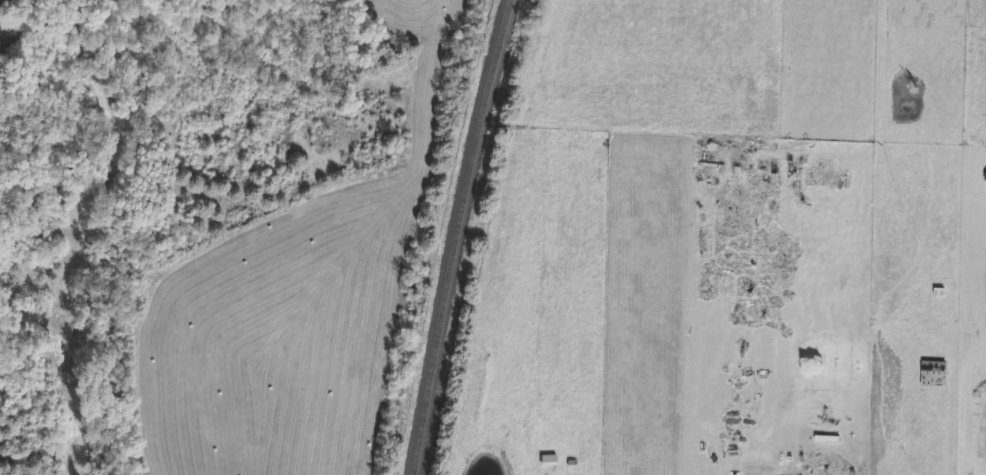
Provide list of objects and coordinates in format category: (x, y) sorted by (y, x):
road: (39, 26)
road: (104, 235)
railway: (454, 236)

